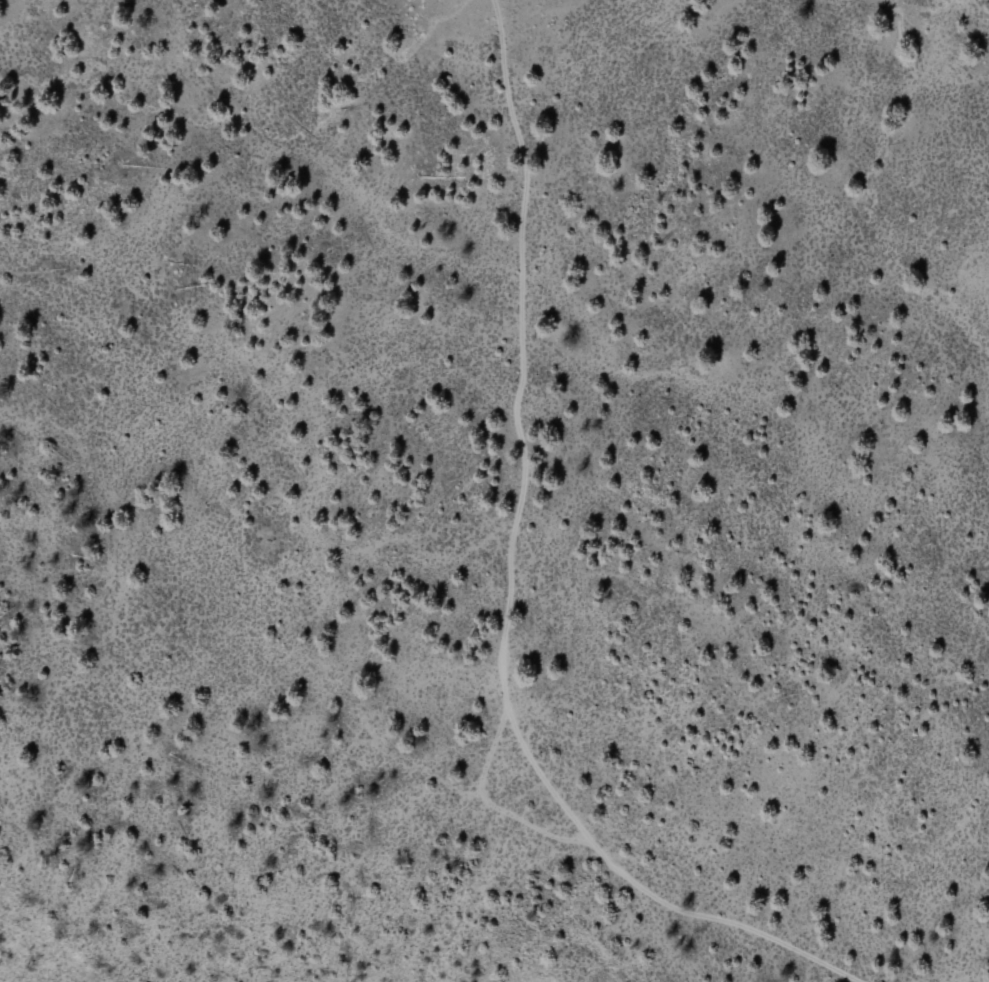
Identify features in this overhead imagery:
road: (513, 578)

